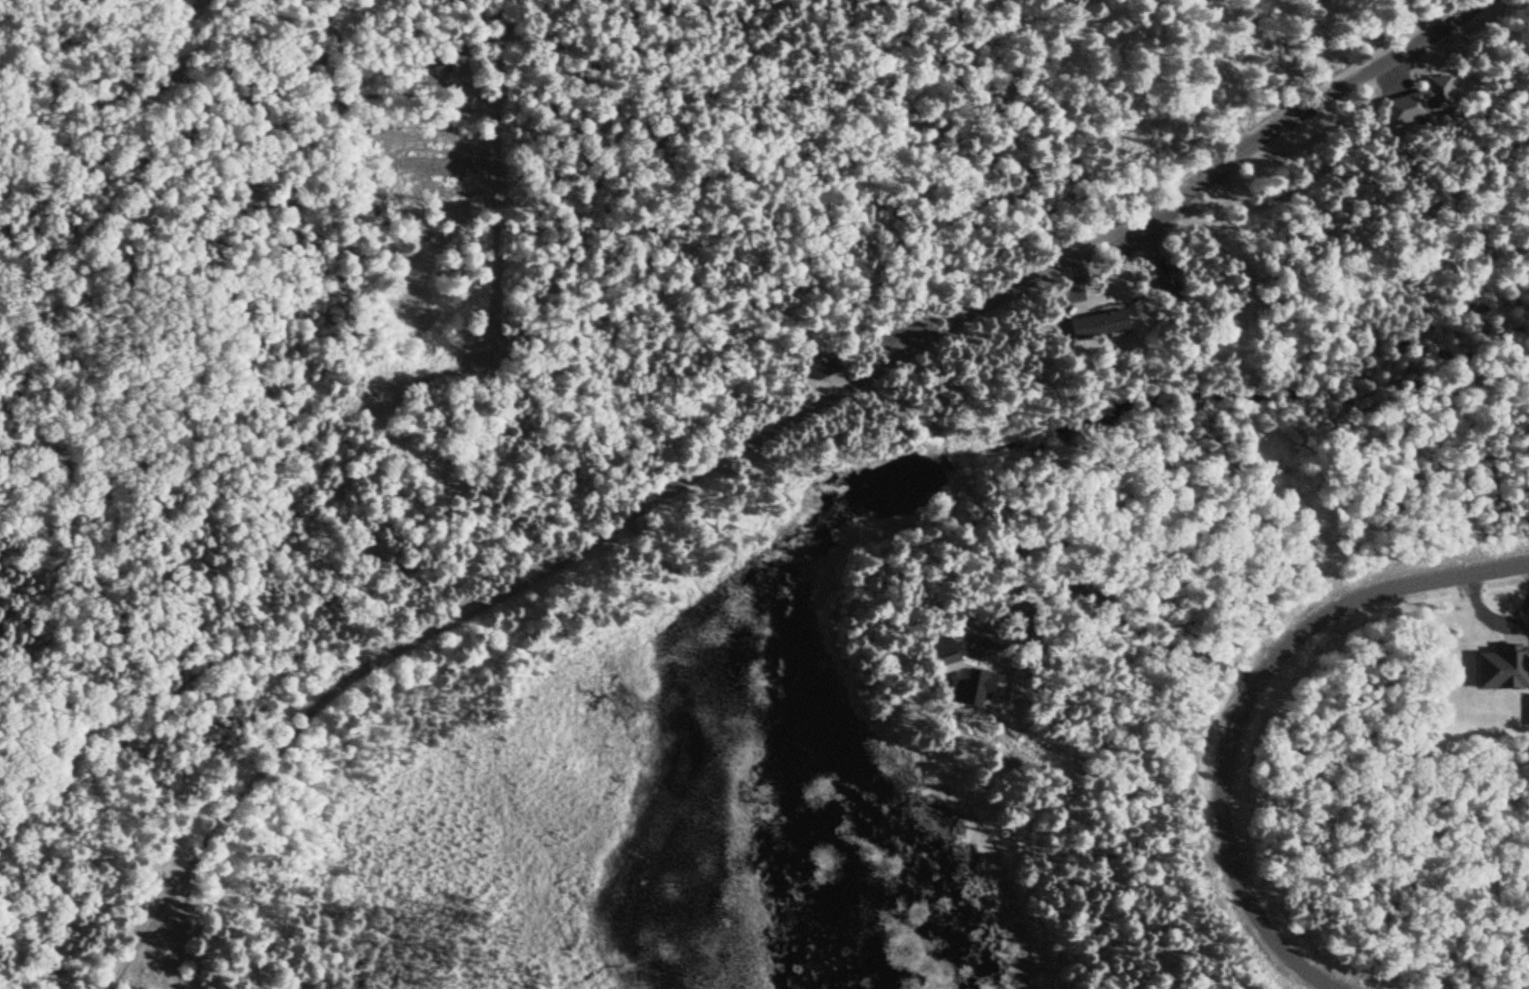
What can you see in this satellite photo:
road: (1297, 47)
park: (1181, 69)
road: (1205, 71)
building: (1435, 95)
building: (1092, 325)
road: (944, 330)
road: (167, 650)
building: (1503, 671)
road: (1245, 704)
road: (240, 804)
road: (181, 931)

